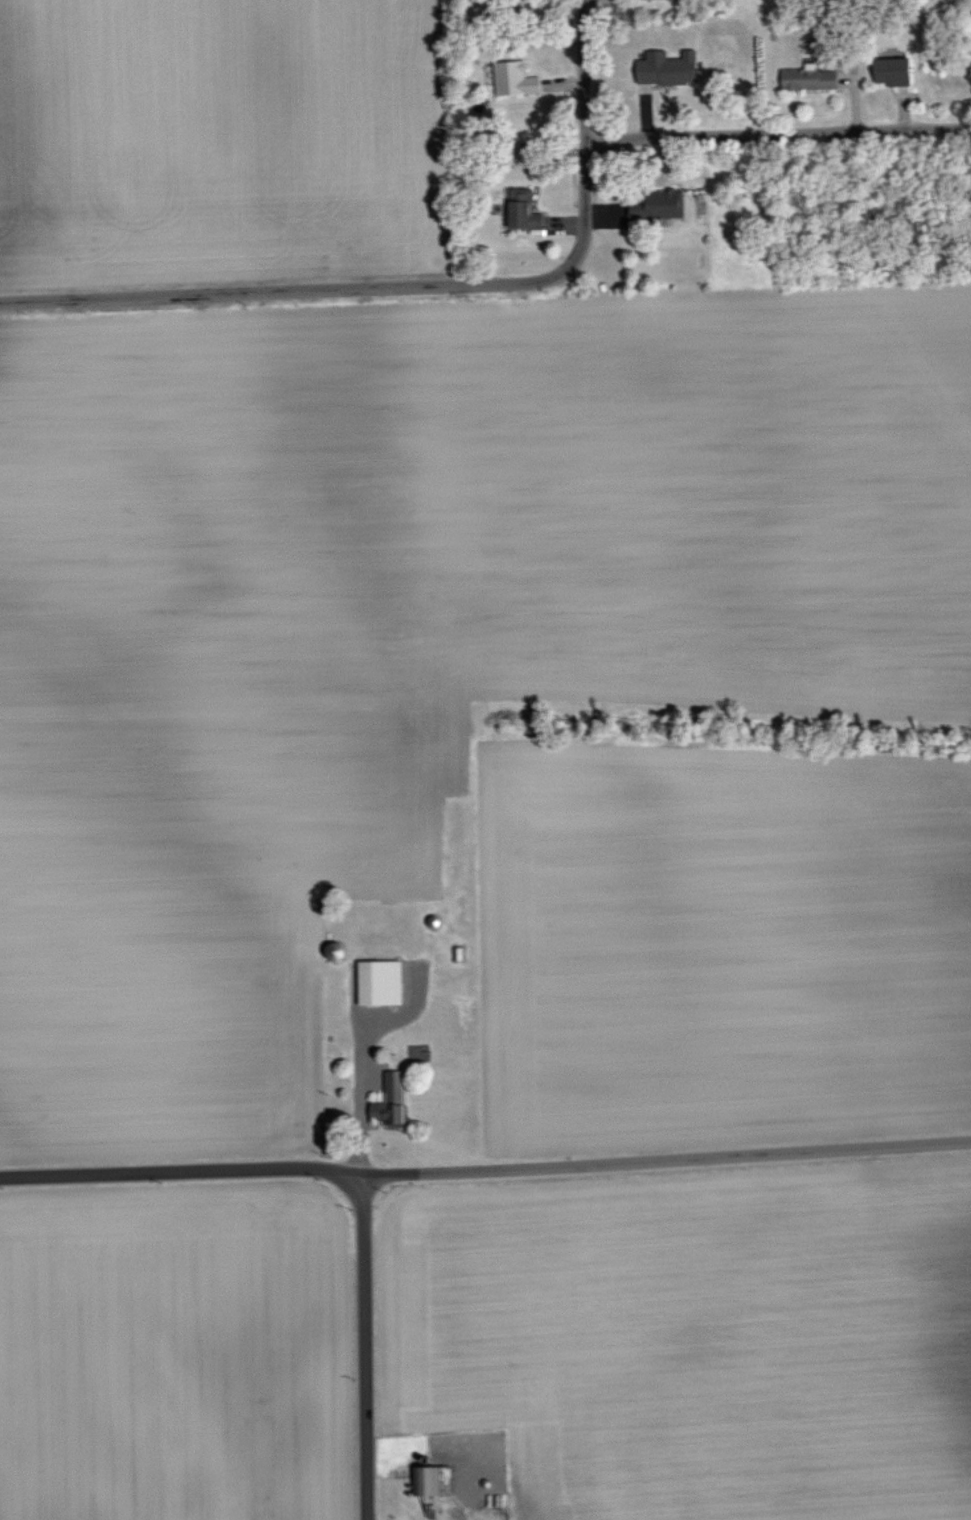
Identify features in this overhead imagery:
building: (662, 68)
road: (583, 71)
building: (887, 71)
building: (804, 78)
building: (510, 79)
road: (778, 134)
building: (655, 204)
building: (518, 210)
road: (351, 290)
building: (375, 982)
building: (385, 1099)
road: (357, 1123)
road: (485, 1168)
road: (362, 1348)
building: (422, 1480)

